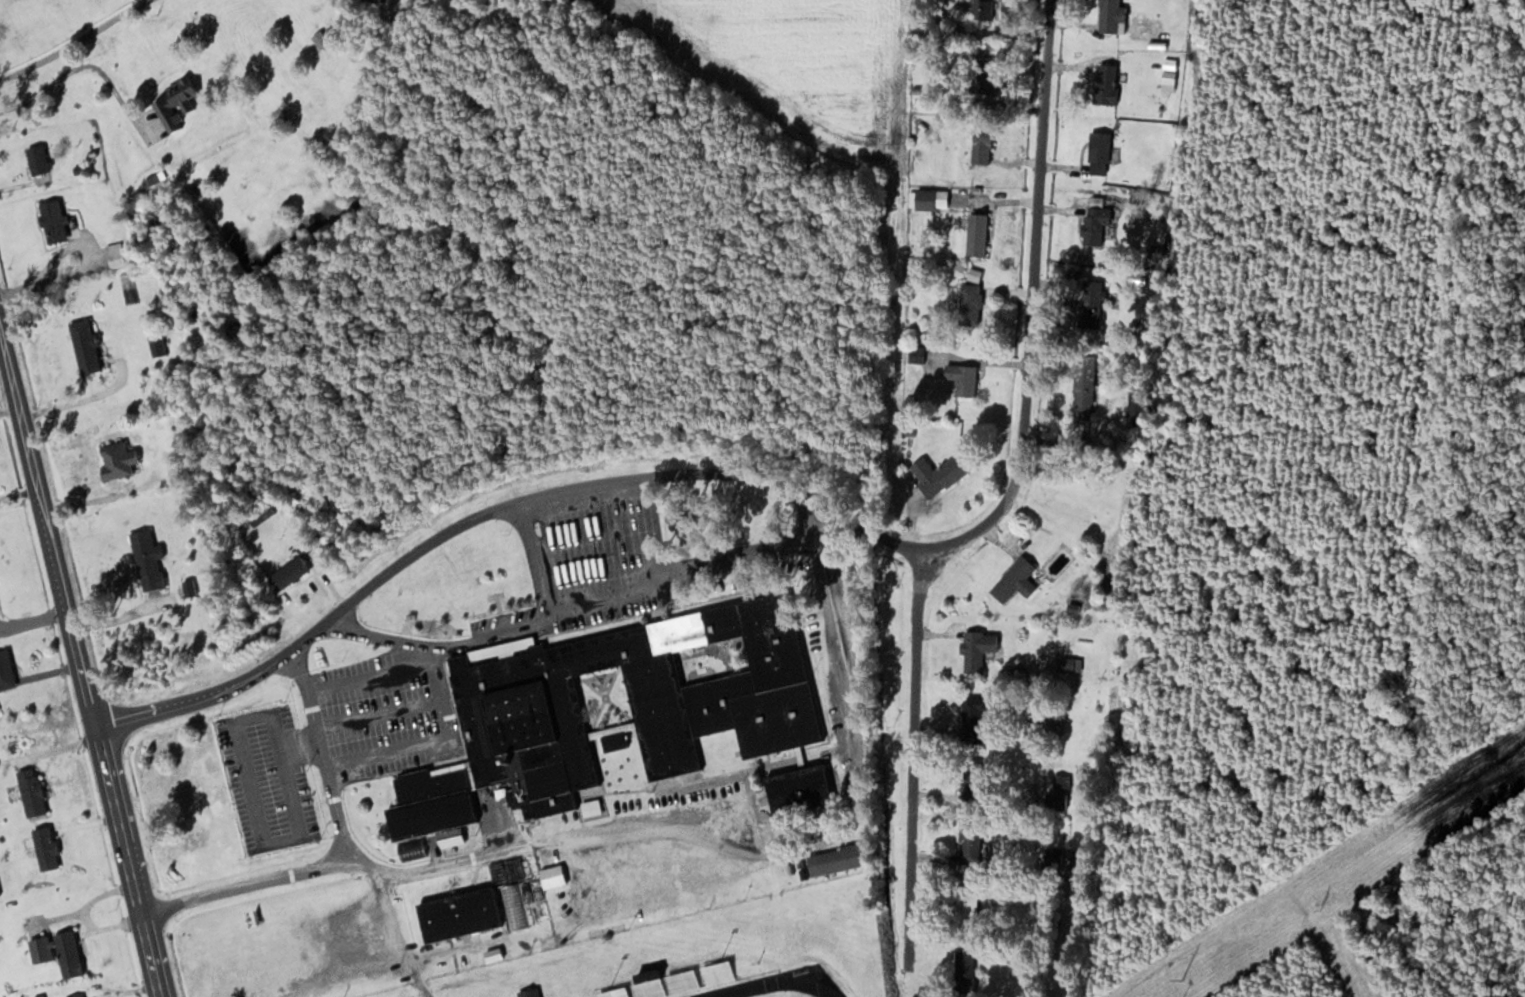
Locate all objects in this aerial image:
building: (986, 9)
building: (1107, 16)
road: (74, 41)
building: (984, 80)
building: (1104, 85)
building: (176, 94)
building: (1097, 152)
building: (36, 161)
building: (924, 198)
building: (51, 219)
building: (1092, 223)
building: (976, 233)
road: (1032, 301)
building: (968, 303)
building: (1088, 305)
building: (135, 322)
building: (83, 344)
building: (156, 346)
building: (1083, 375)
building: (961, 378)
building: (1135, 412)
building: (117, 446)
building: (938, 472)
road: (487, 509)
parking lot: (593, 545)
road: (531, 561)
building: (146, 563)
building: (285, 574)
building: (1014, 580)
parking lot: (627, 605)
road: (594, 607)
parking lot: (504, 621)
building: (975, 649)
road: (81, 660)
building: (1068, 663)
building: (5, 670)
road: (371, 679)
building: (727, 704)
parking lot: (383, 713)
road: (379, 714)
building: (1051, 721)
road: (435, 742)
road: (322, 754)
road: (915, 754)
parking lot: (270, 774)
building: (805, 789)
building: (29, 791)
road: (250, 791)
building: (1056, 799)
road: (646, 825)
building: (968, 845)
building: (43, 847)
building: (413, 848)
building: (1053, 855)
building: (840, 859)
building: (555, 875)
building: (514, 905)
building: (964, 905)
building: (467, 913)
road: (398, 934)
building: (964, 975)
building: (672, 981)
track: (779, 984)
track: (776, 991)
building: (531, 992)
park: (781, 994)

